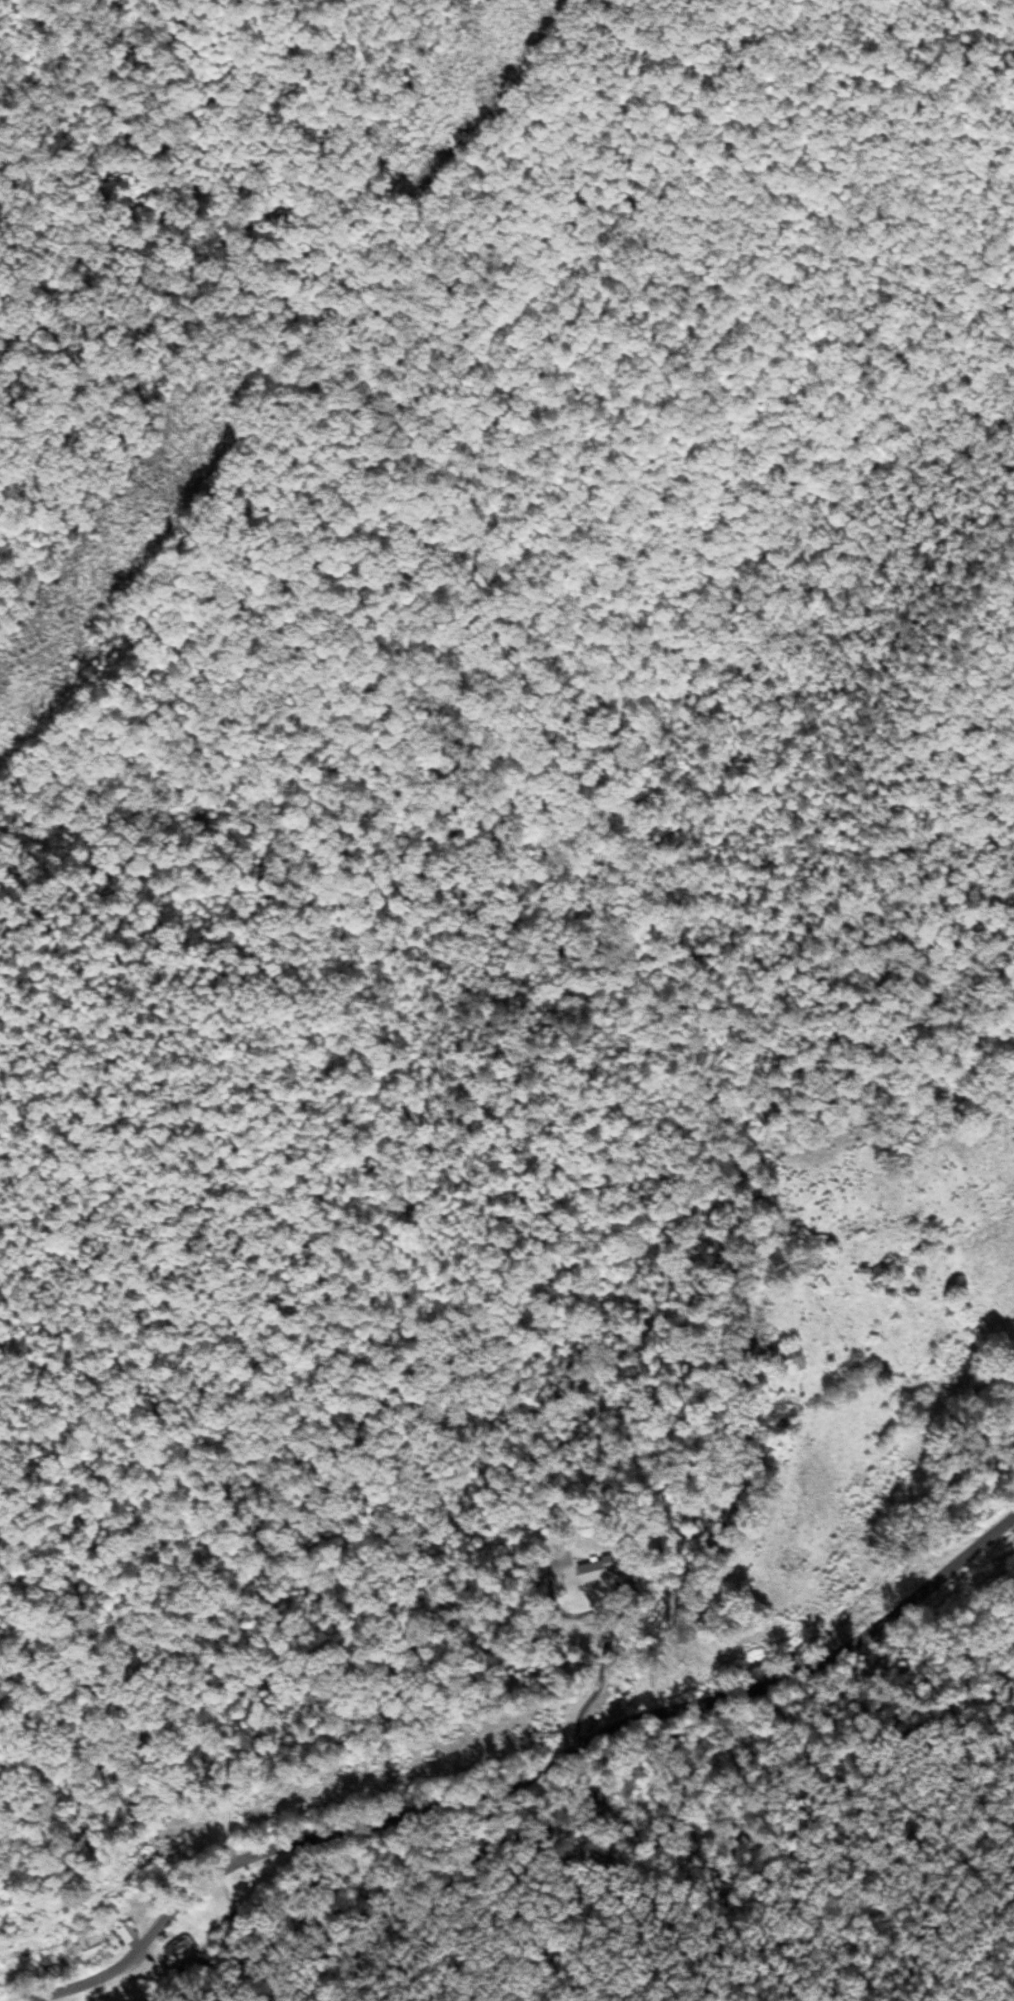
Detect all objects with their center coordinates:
road: (973, 1226)
building: (872, 1278)
building: (782, 1361)
building: (589, 1572)
road: (600, 1669)
road: (521, 1779)
building: (124, 1934)
building: (87, 1946)
building: (180, 1953)

